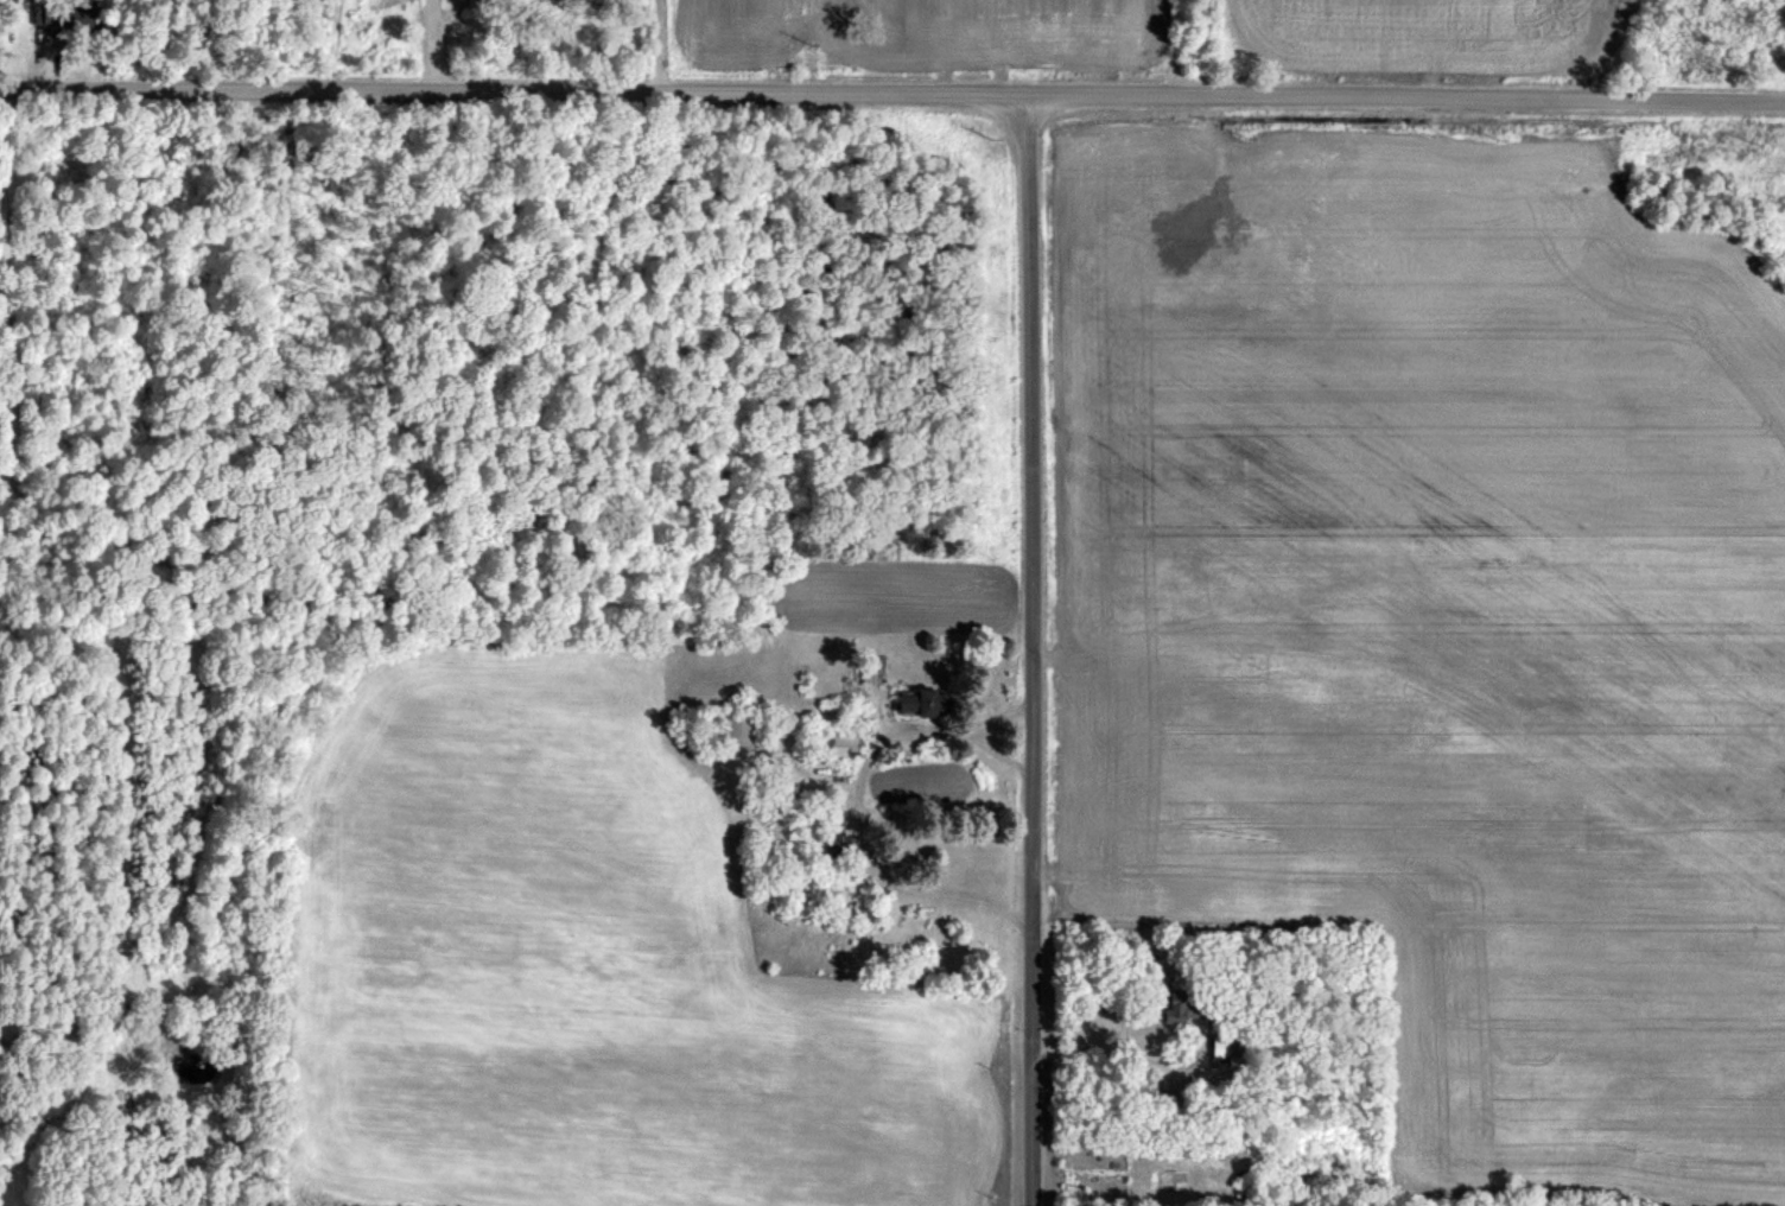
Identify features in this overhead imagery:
building: (70, 18)
road: (655, 46)
road: (892, 94)
road: (1037, 650)
building: (920, 700)
building: (736, 730)
road: (957, 734)
building: (841, 744)
road: (868, 844)
building: (1177, 1005)

